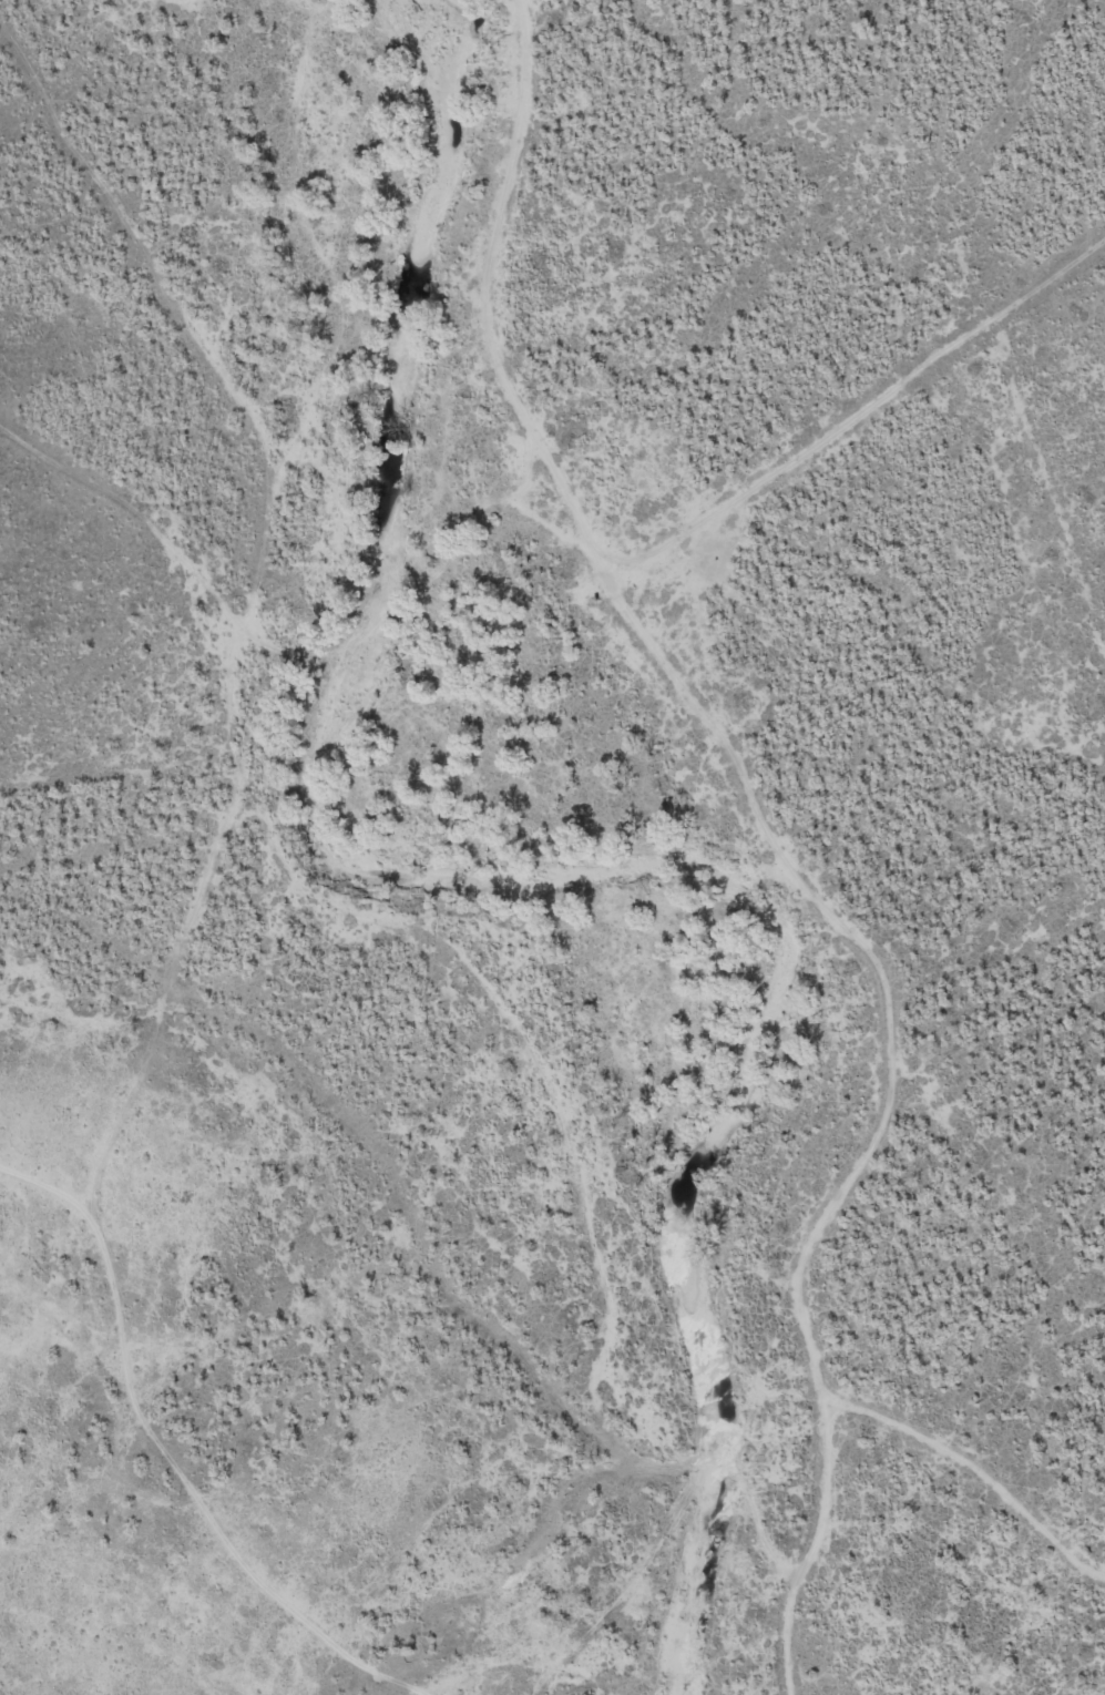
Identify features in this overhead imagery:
road: (852, 417)
road: (413, 590)
road: (236, 774)
road: (747, 785)
river: (501, 889)
road: (976, 1471)
road: (405, 1683)
road: (422, 1692)

